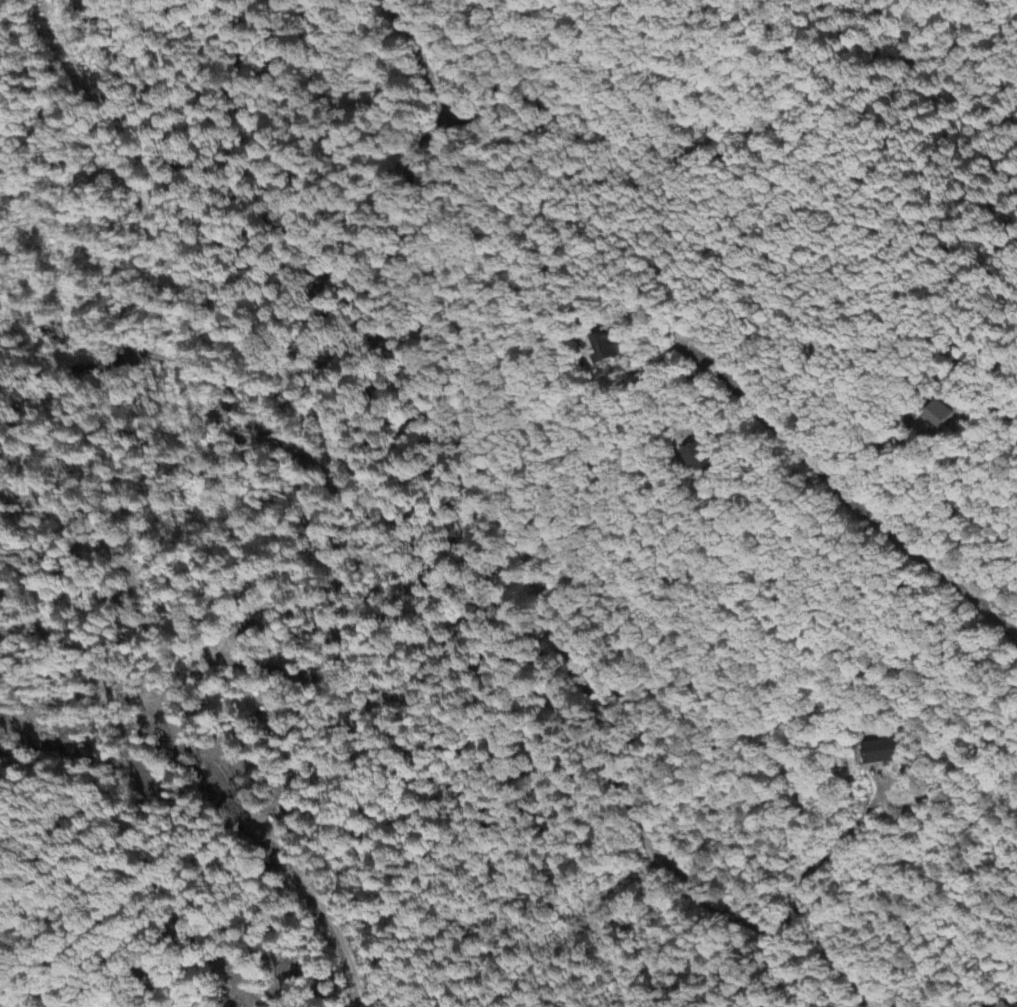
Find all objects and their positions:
road: (488, 79)
building: (944, 415)
building: (699, 458)
road: (884, 468)
road: (855, 503)
road: (525, 558)
building: (883, 751)
road: (827, 855)
road: (1010, 1004)

